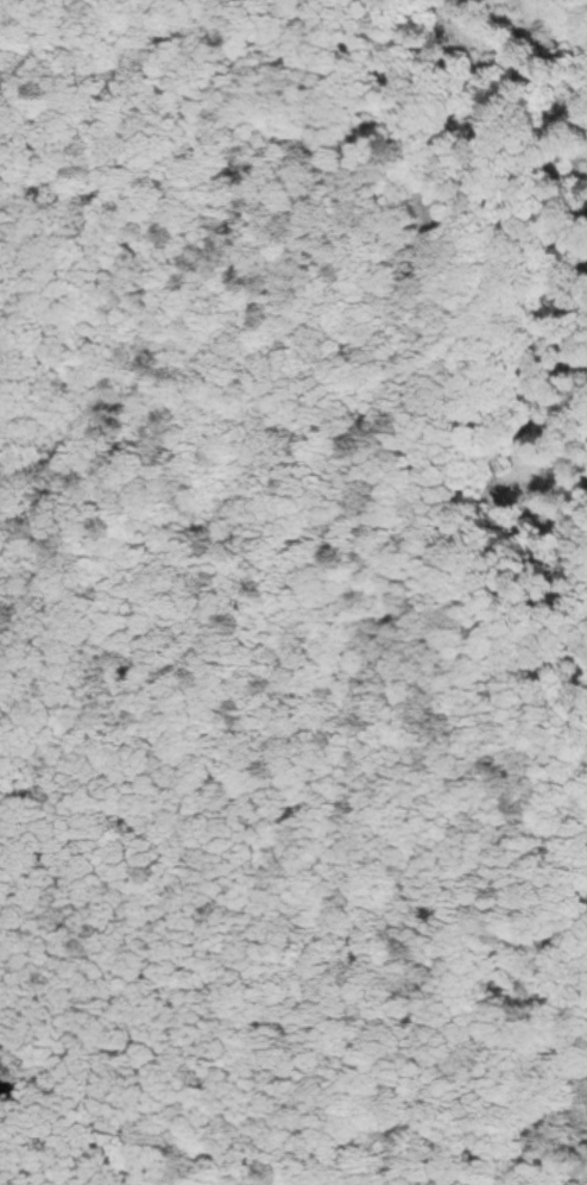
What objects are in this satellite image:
park: (293, 592)

